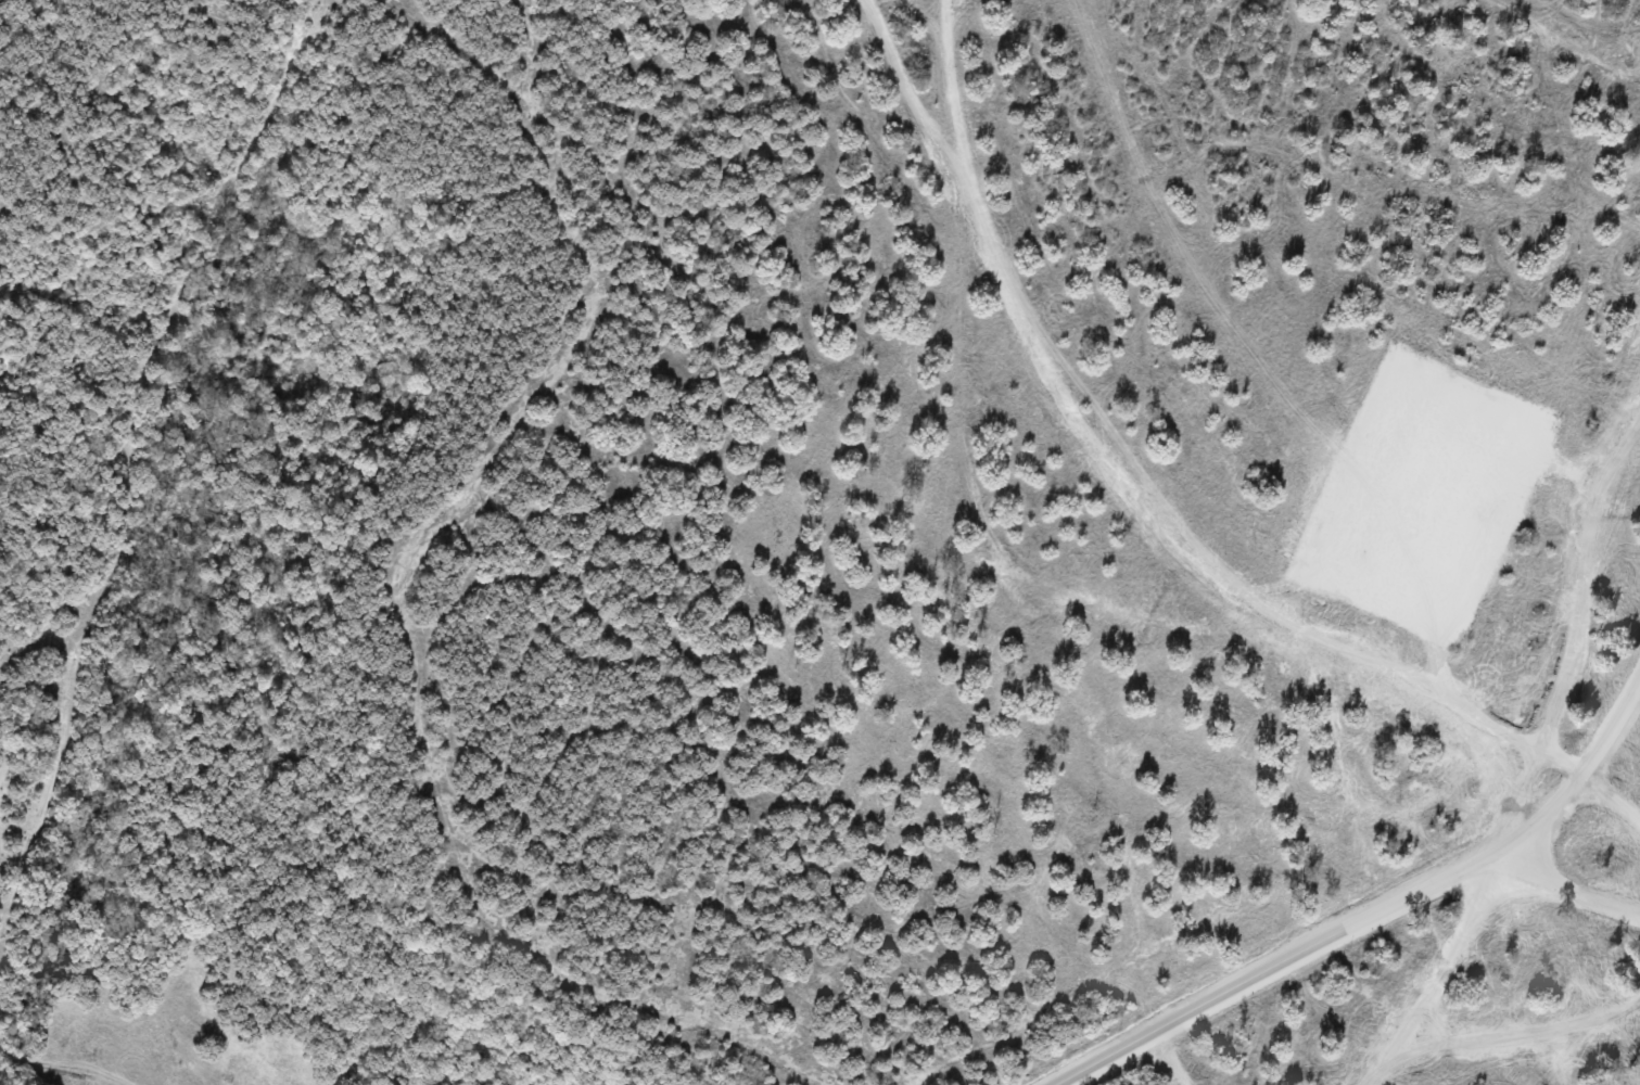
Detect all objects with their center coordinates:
road: (1109, 465)
road: (1582, 574)
road: (1612, 726)
road: (1563, 764)
road: (1612, 801)
road: (1530, 826)
road: (1554, 888)
road: (1474, 928)
road: (1260, 972)

